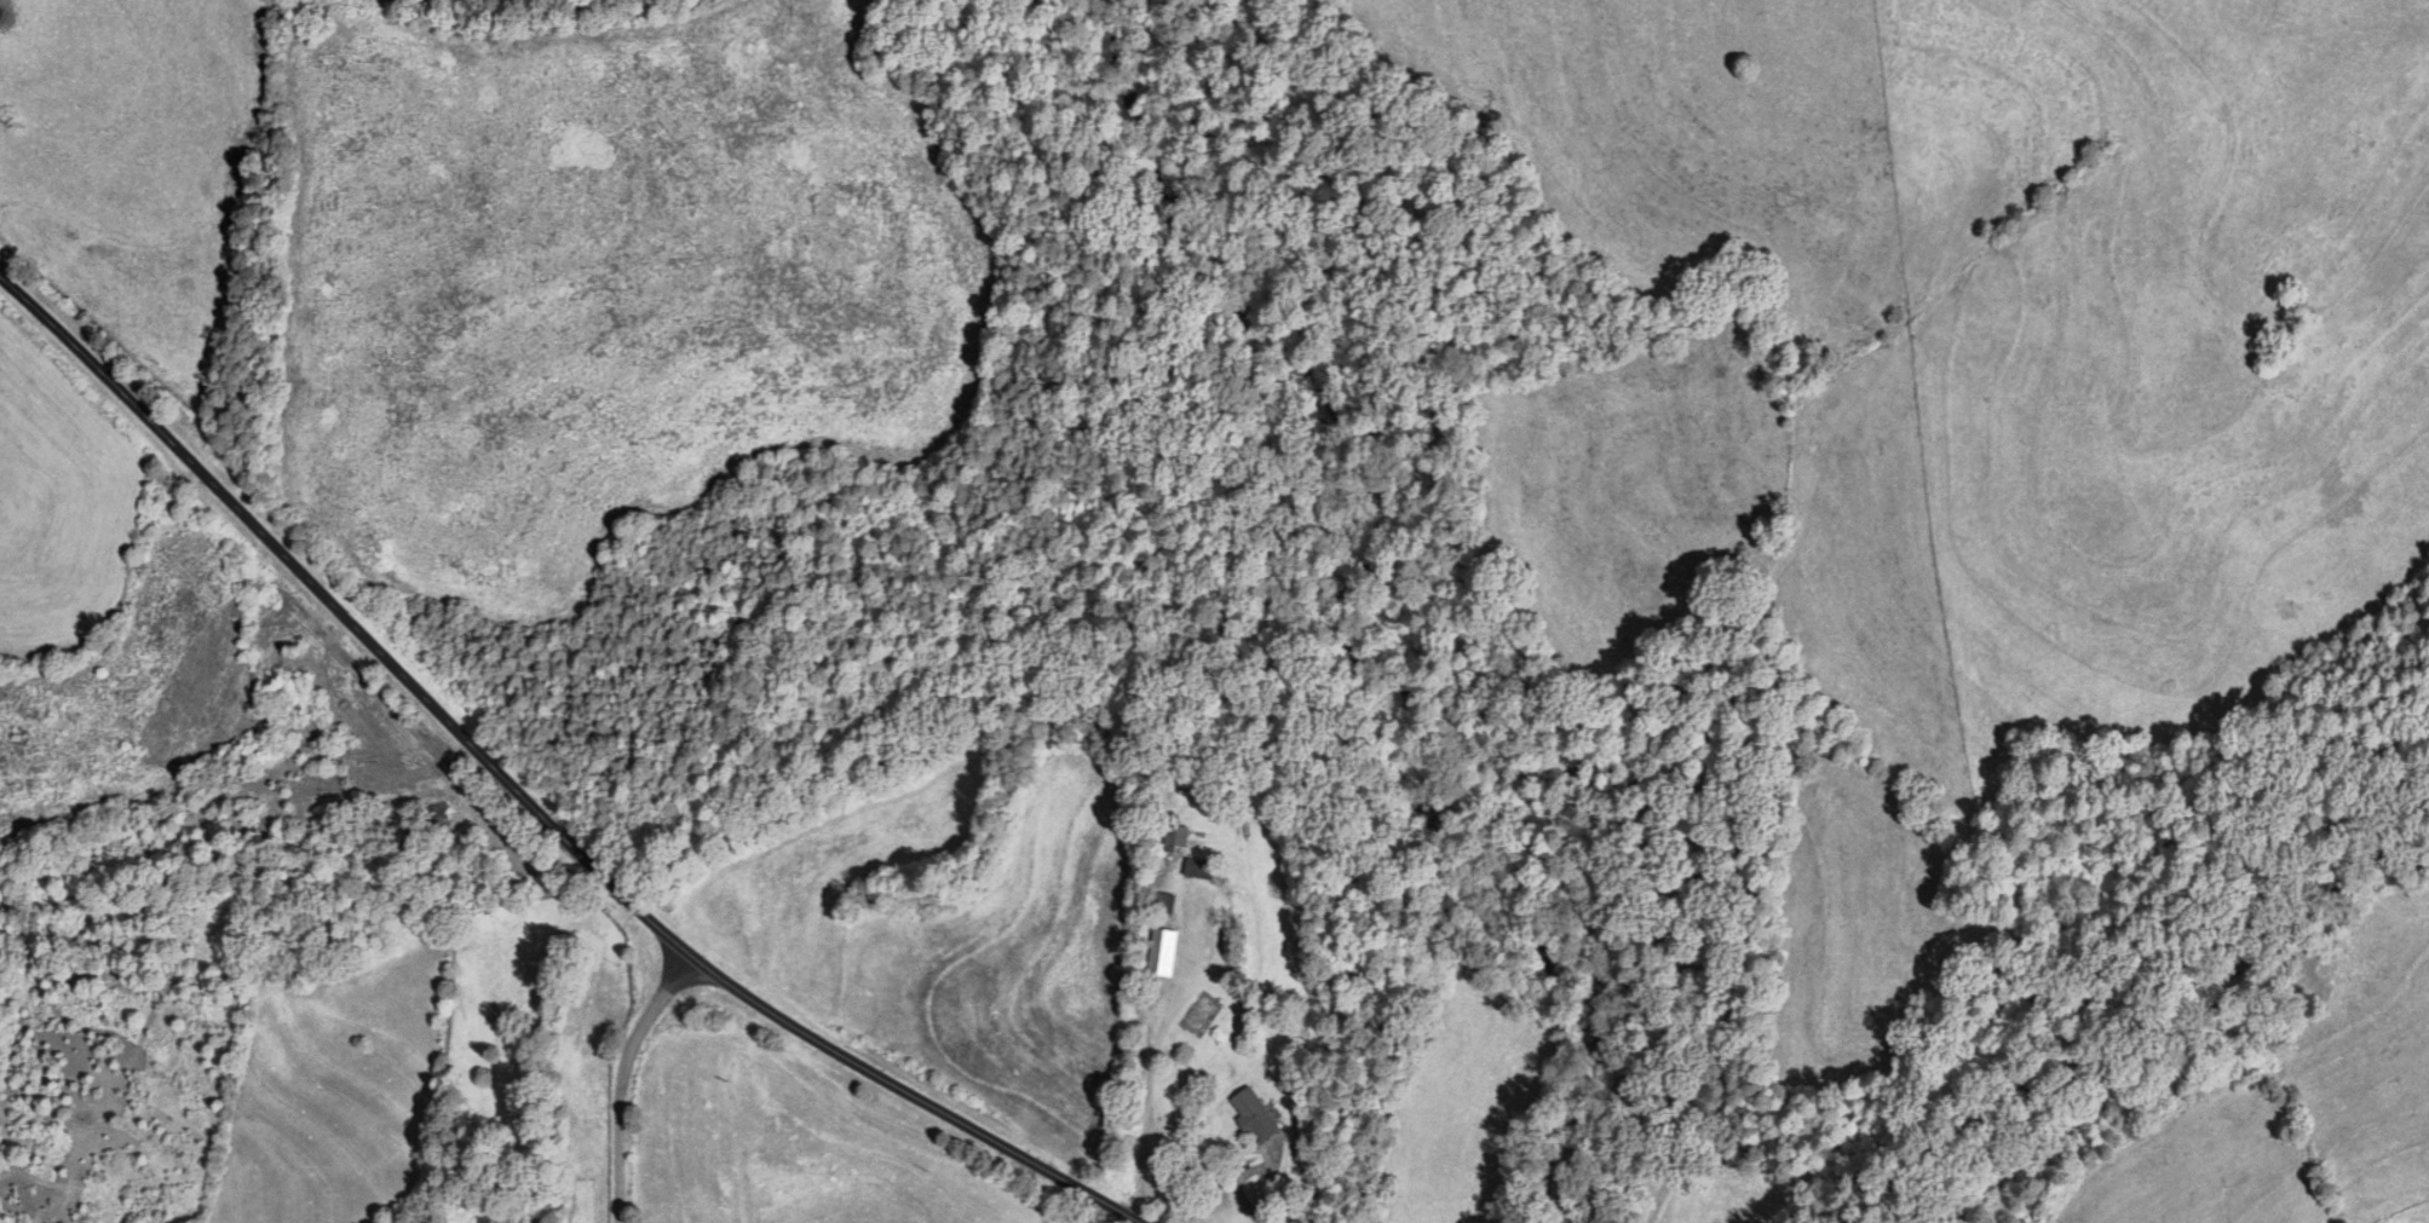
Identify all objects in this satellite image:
road: (536, 796)
building: (443, 821)
building: (1176, 833)
building: (1201, 870)
building: (1167, 904)
road: (626, 1077)
building: (1256, 1114)
road: (1271, 1185)

